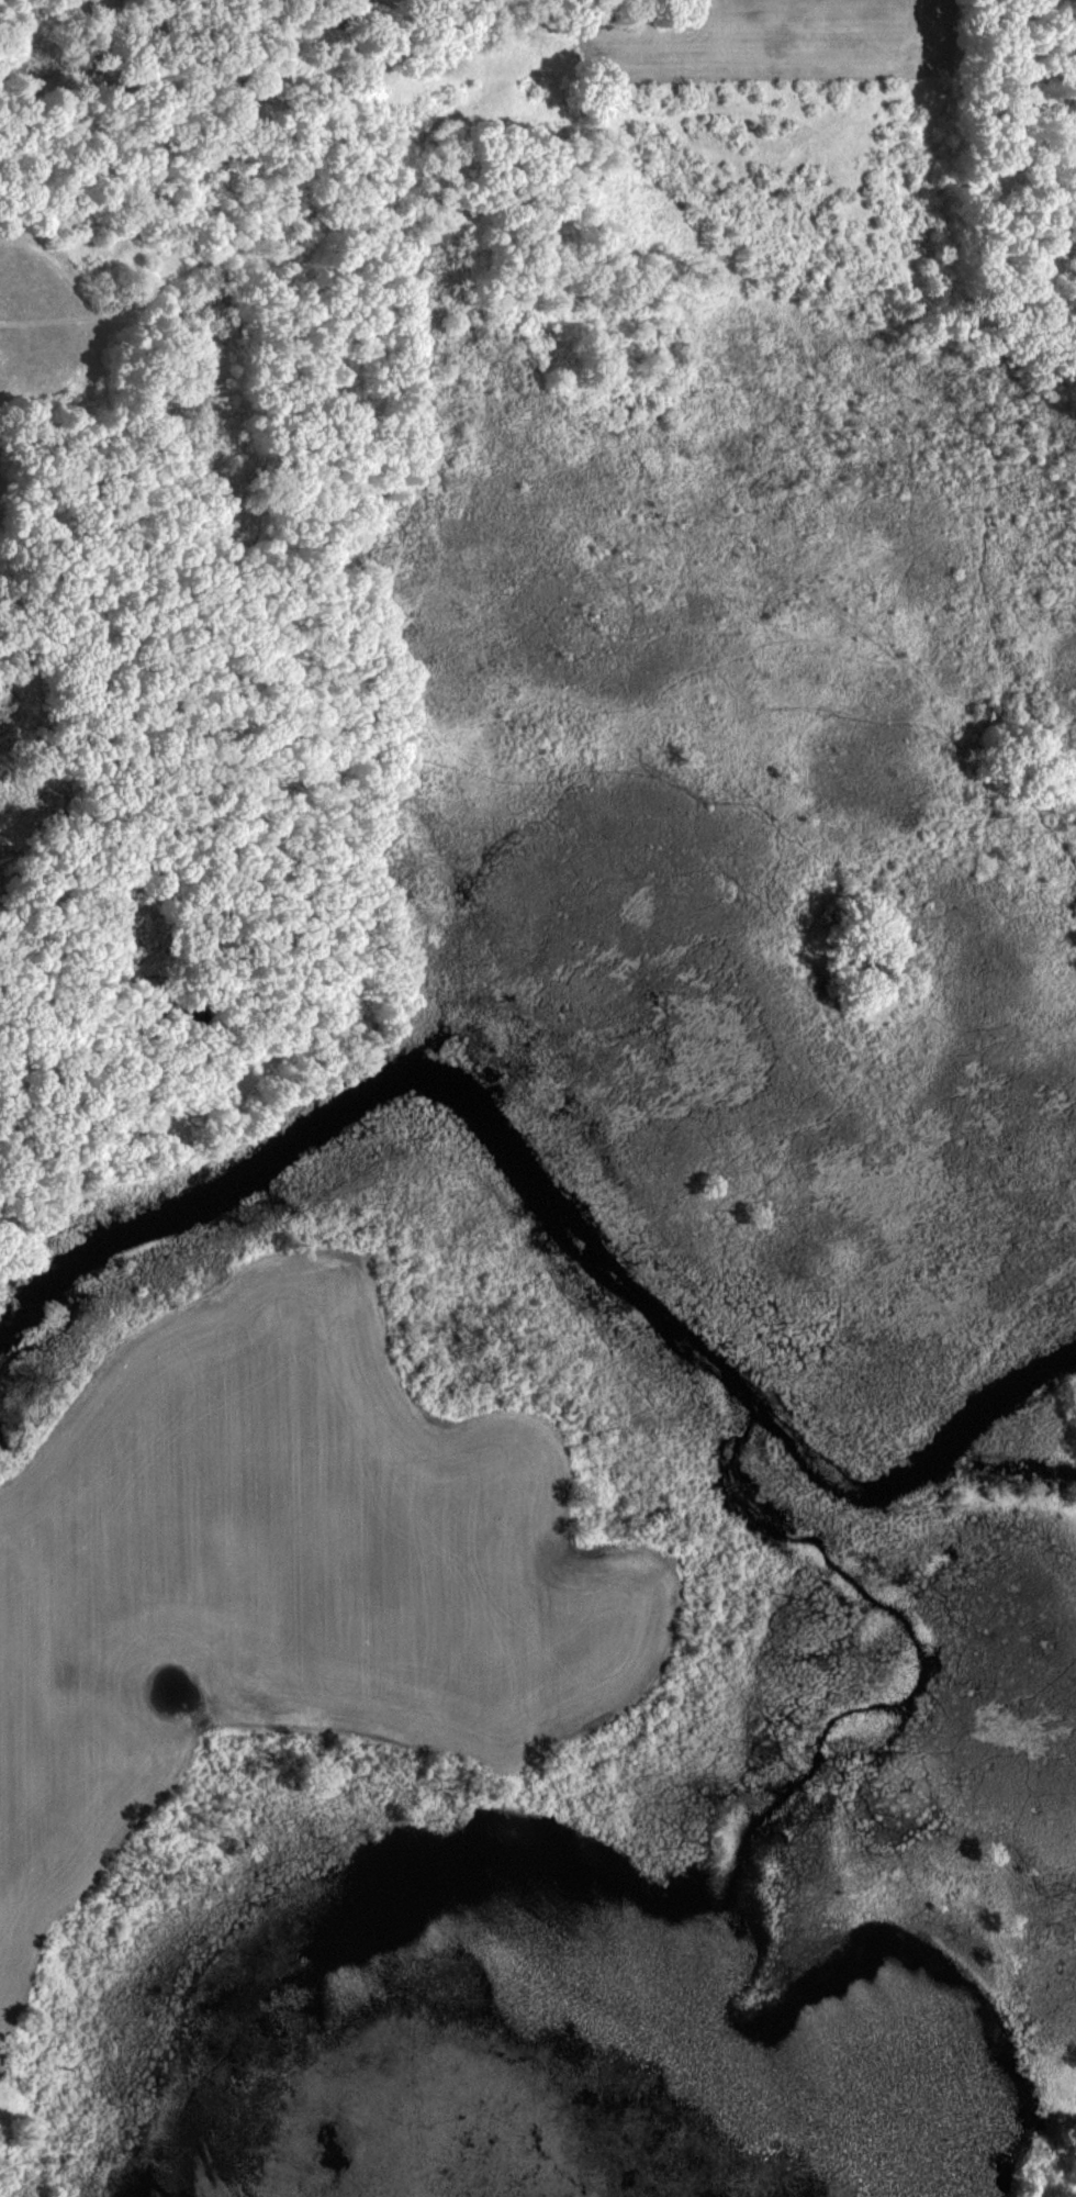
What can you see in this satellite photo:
river: (569, 1170)

